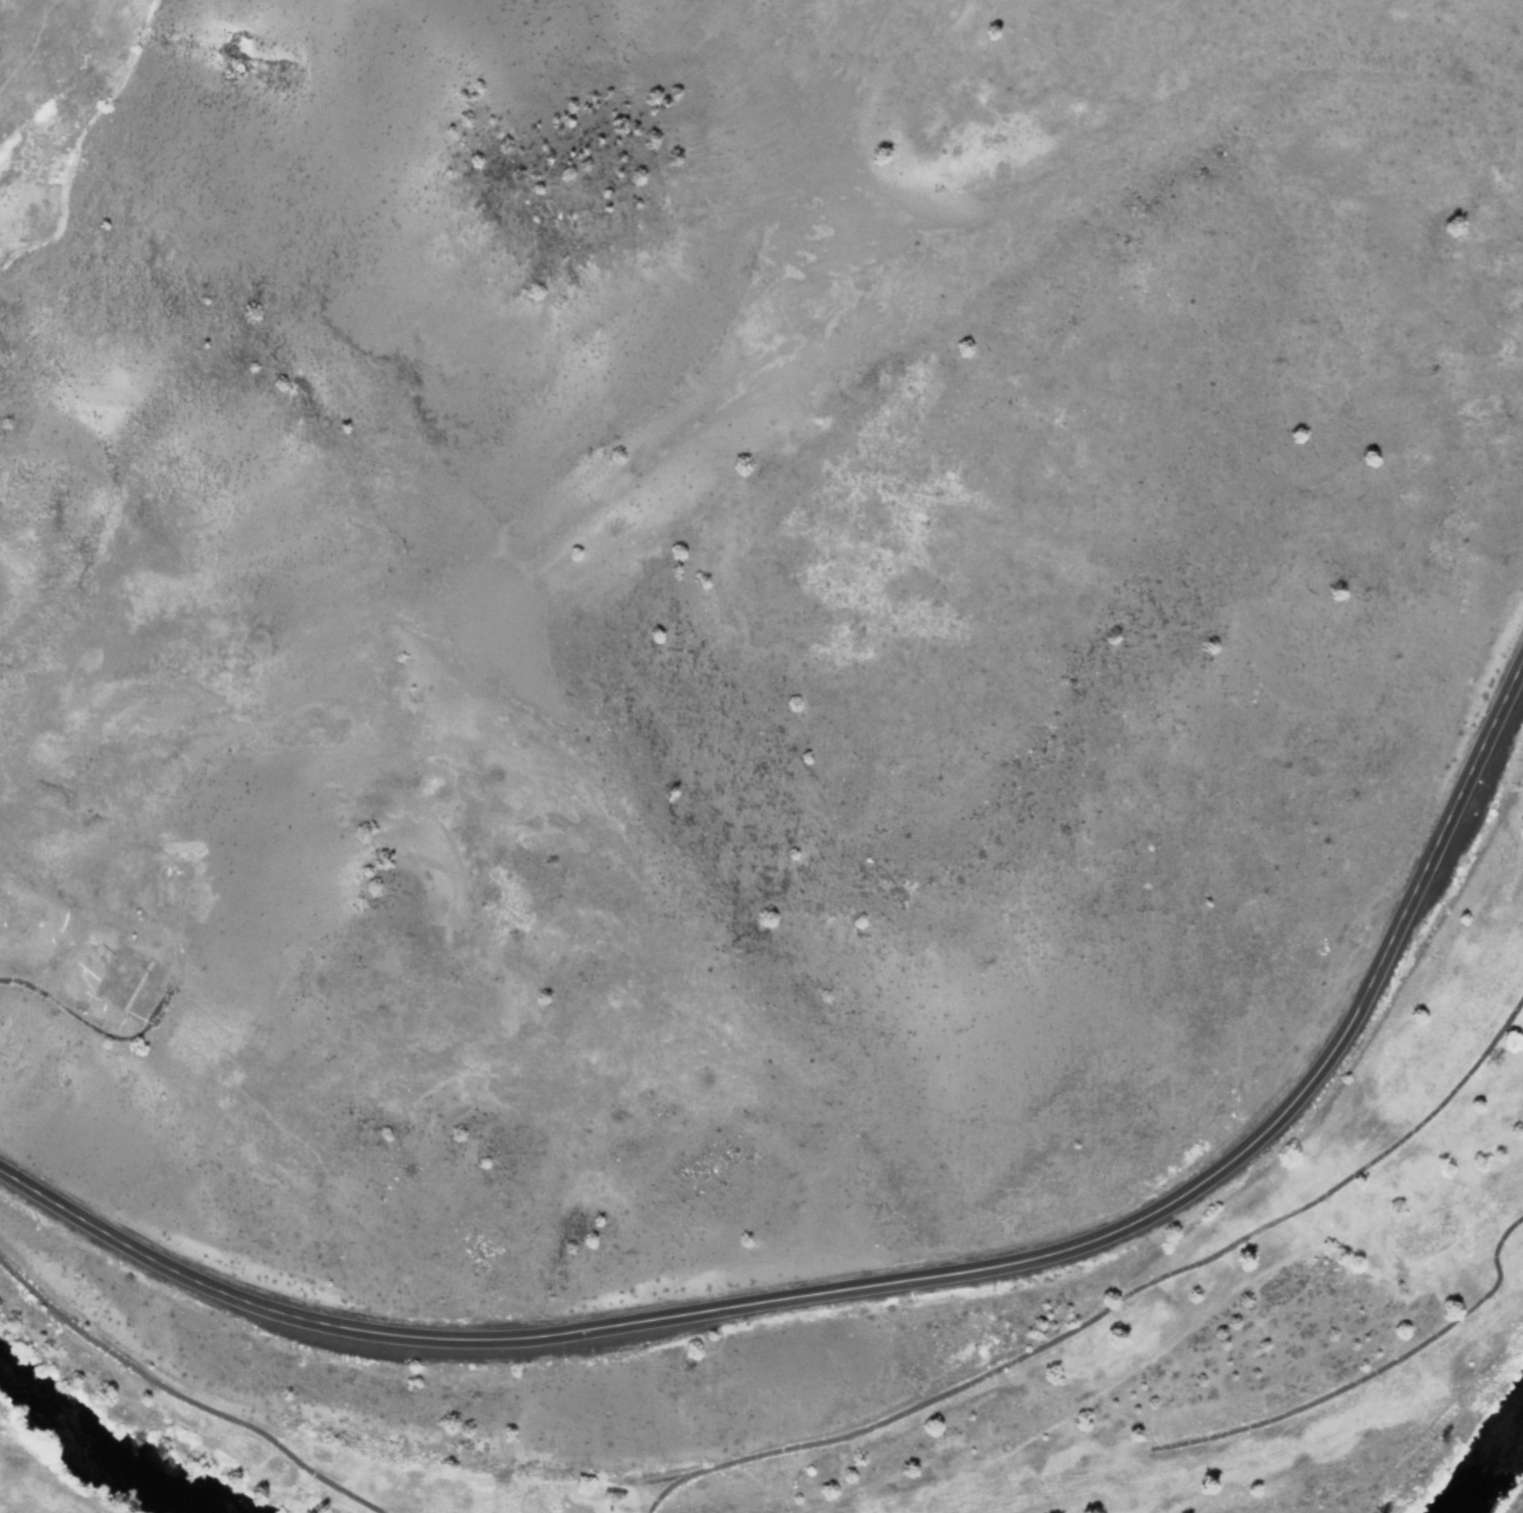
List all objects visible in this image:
road: (28, 45)
road: (902, 1278)
park: (890, 1342)
river: (92, 1454)
river: (1489, 1465)

